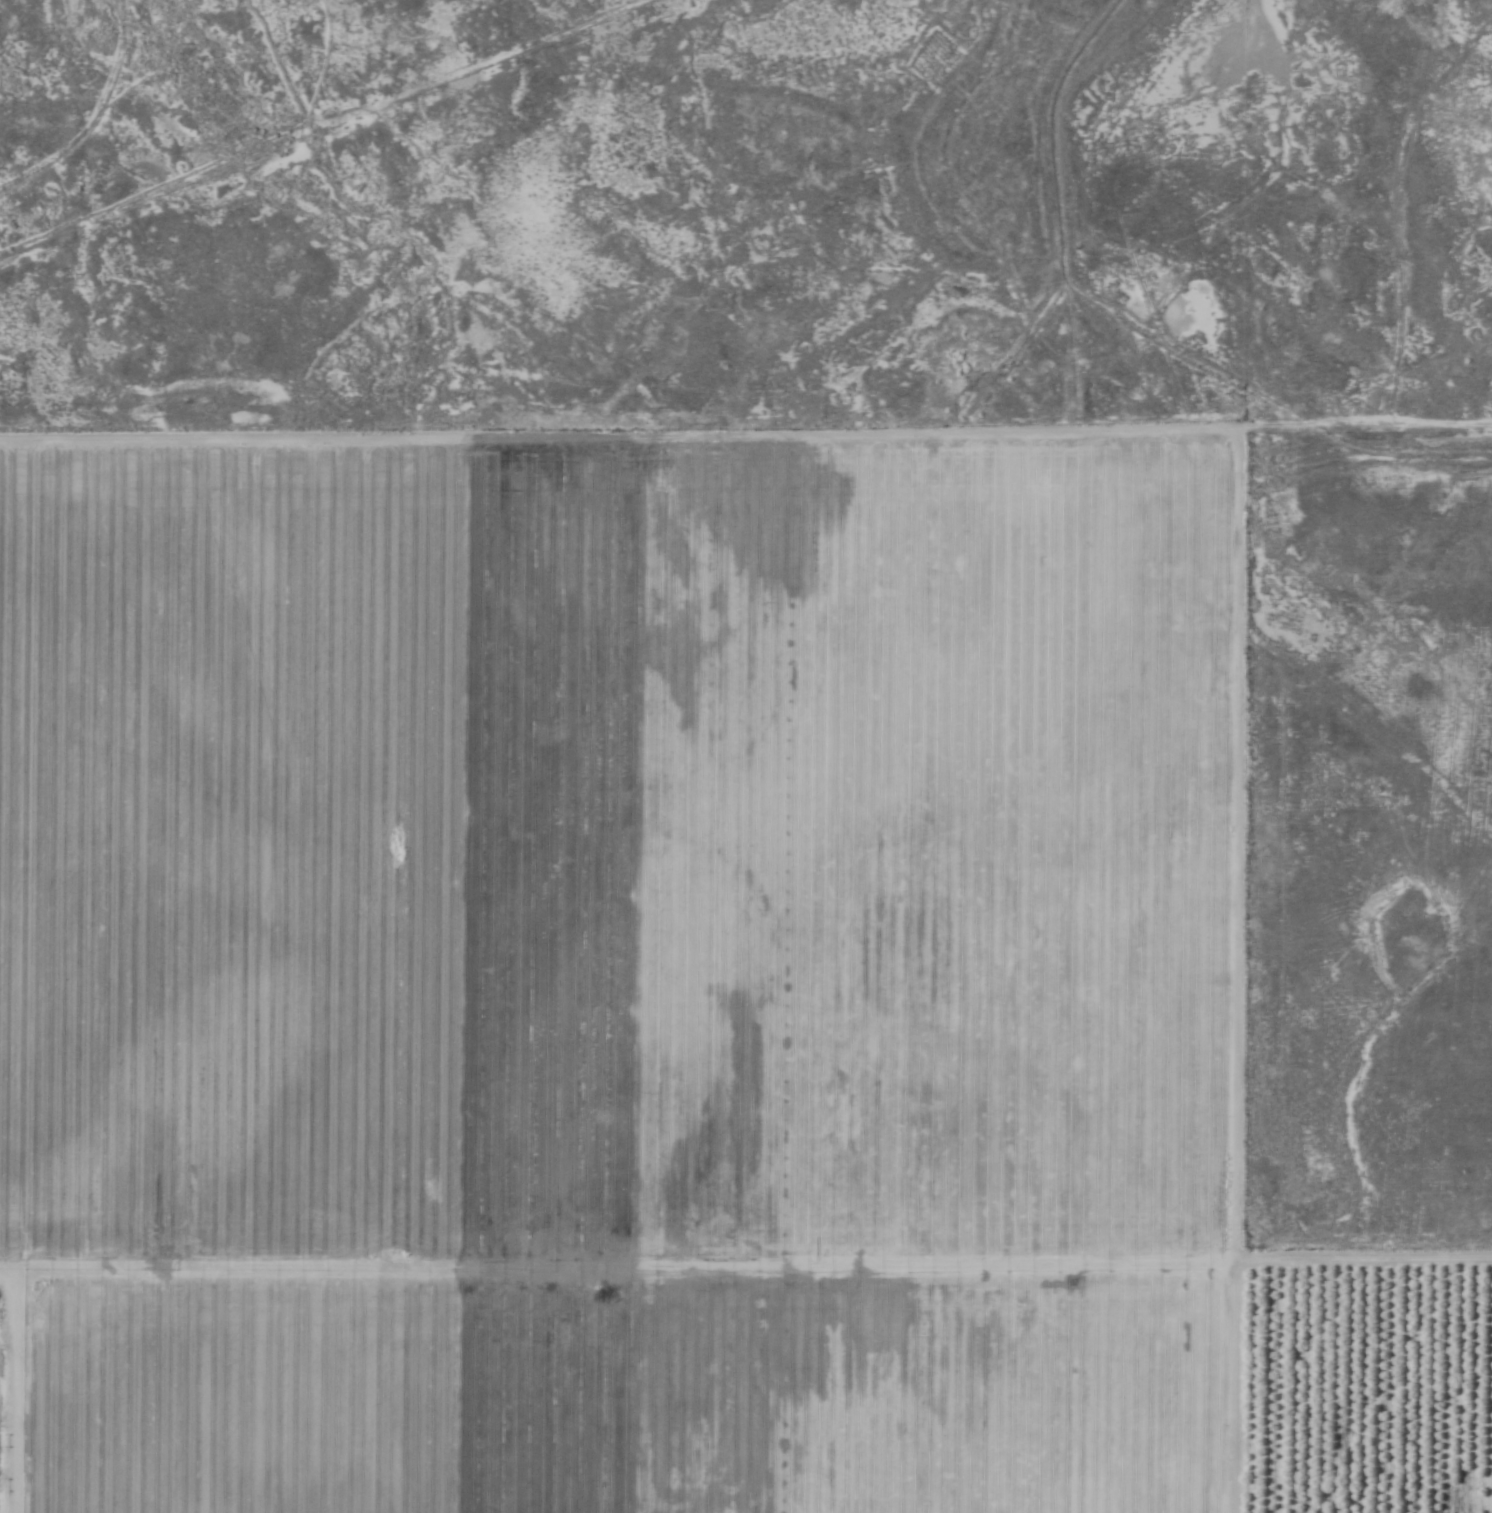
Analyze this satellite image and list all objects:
road: (1042, 1162)

